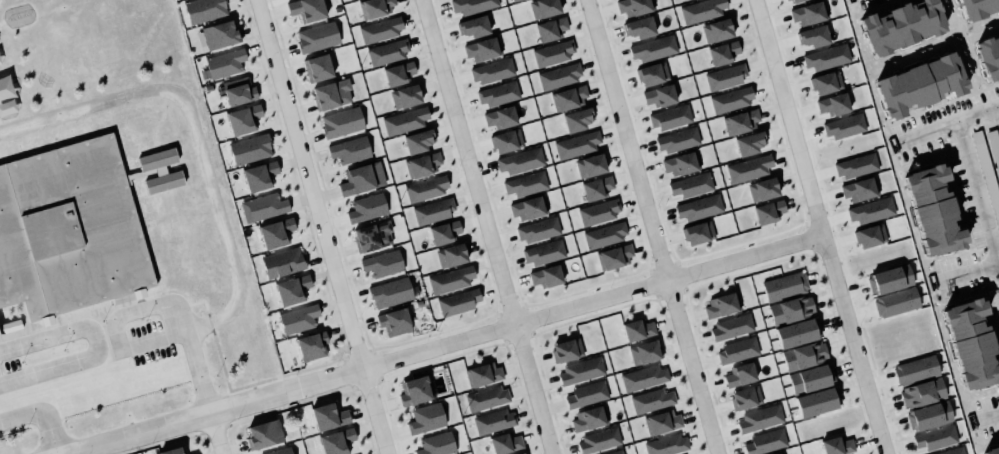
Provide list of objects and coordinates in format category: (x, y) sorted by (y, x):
building: (512, 0)
building: (794, 0)
building: (472, 5)
building: (633, 6)
building: (373, 7)
building: (543, 7)
building: (977, 7)
building: (305, 8)
building: (202, 9)
building: (700, 9)
building: (807, 11)
building: (899, 22)
building: (473, 26)
building: (550, 27)
building: (379, 28)
building: (639, 28)
building: (716, 29)
building: (218, 33)
building: (811, 34)
building: (316, 36)
building: (481, 47)
building: (652, 47)
building: (722, 51)
building: (387, 52)
building: (552, 52)
building: (988, 53)
building: (825, 55)
building: (223, 62)
building: (316, 66)
building: (491, 70)
building: (651, 72)
building: (398, 73)
building: (558, 75)
building: (726, 77)
building: (824, 80)
building: (918, 81)
building: (237, 91)
building: (329, 92)
building: (497, 94)
building: (659, 94)
building: (406, 96)
building: (570, 97)
building: (730, 98)
building: (833, 105)
road: (998, 107)
road: (976, 111)
building: (669, 116)
building: (241, 117)
building: (499, 117)
building: (578, 119)
building: (406, 120)
building: (739, 120)
building: (340, 121)
building: (843, 126)
building: (505, 139)
building: (677, 140)
building: (419, 141)
building: (576, 143)
building: (750, 143)
building: (349, 148)
building: (993, 148)
building: (250, 149)
building: (520, 161)
building: (680, 162)
building: (422, 164)
building: (589, 164)
building: (855, 166)
building: (749, 168)
building: (160, 170)
building: (986, 173)
building: (257, 174)
building: (360, 177)
building: (525, 182)
building: (691, 185)
building: (595, 186)
building: (857, 188)
building: (426, 189)
building: (763, 189)
road: (976, 197)
building: (365, 206)
building: (528, 206)
building: (698, 206)
building: (263, 207)
building: (932, 208)
building: (597, 210)
building: (769, 210)
building: (870, 210)
building: (433, 211)
road: (321, 227)
road: (486, 227)
road: (652, 227)
road: (821, 227)
building: (68, 228)
building: (537, 228)
building: (697, 231)
building: (444, 232)
building: (276, 233)
building: (371, 234)
building: (603, 234)
building: (869, 234)
building: (543, 251)
building: (451, 255)
building: (613, 255)
building: (283, 262)
building: (383, 264)
road: (968, 270)
building: (544, 275)
building: (449, 278)
building: (888, 278)
building: (783, 285)
building: (292, 290)
building: (391, 292)
building: (895, 301)
building: (458, 302)
building: (721, 306)
building: (791, 309)
road: (179, 311)
building: (298, 319)
building: (394, 321)
building: (10, 326)
building: (730, 326)
building: (637, 328)
building: (796, 331)
road: (165, 339)
building: (970, 342)
road: (100, 345)
road: (445, 345)
building: (312, 346)
building: (568, 350)
building: (737, 351)
building: (645, 352)
building: (802, 354)
building: (915, 369)
building: (581, 371)
building: (482, 373)
building: (740, 375)
building: (643, 376)
building: (811, 378)
building: (414, 391)
building: (920, 391)
building: (587, 394)
building: (744, 396)
building: (485, 397)
building: (652, 400)
building: (815, 400)
building: (927, 414)
building: (329, 416)
road: (40, 417)
building: (425, 418)
building: (492, 419)
building: (589, 419)
building: (760, 419)
building: (662, 422)
building: (262, 432)
road: (216, 433)
building: (934, 436)
building: (337, 441)
building: (504, 441)
building: (599, 441)
building: (766, 442)
building: (434, 444)
building: (667, 445)
building: (837, 445)
building: (990, 446)
building: (278, 450)
building: (951, 450)
building: (172, 451)
building: (614, 451)
building: (194, 453)
building: (518, 453)
building: (524, 453)
building: (777, 453)
building: (782, 453)

